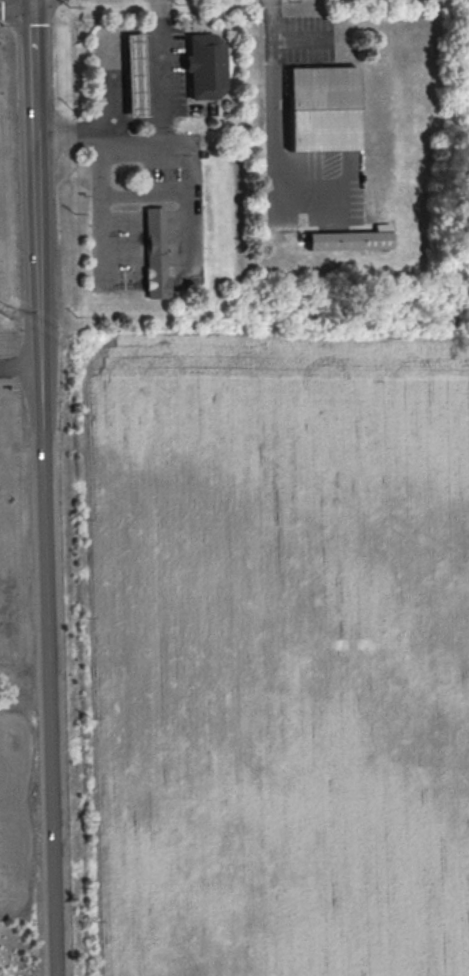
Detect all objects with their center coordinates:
road: (30, 0)
traffic signals: (31, 1)
road: (15, 2)
road: (200, 5)
road: (157, 7)
road: (269, 17)
road: (69, 24)
road: (294, 33)
road: (31, 36)
road: (134, 64)
road: (152, 64)
building: (205, 64)
road: (118, 65)
building: (134, 72)
gas station: (134, 72)
building: (322, 108)
road: (73, 125)
road: (73, 127)
road: (163, 139)
road: (273, 143)
road: (98, 148)
road: (57, 184)
road: (36, 216)
building: (352, 239)
building: (155, 252)
power tower: (11, 313)
road: (20, 363)
road: (50, 669)

